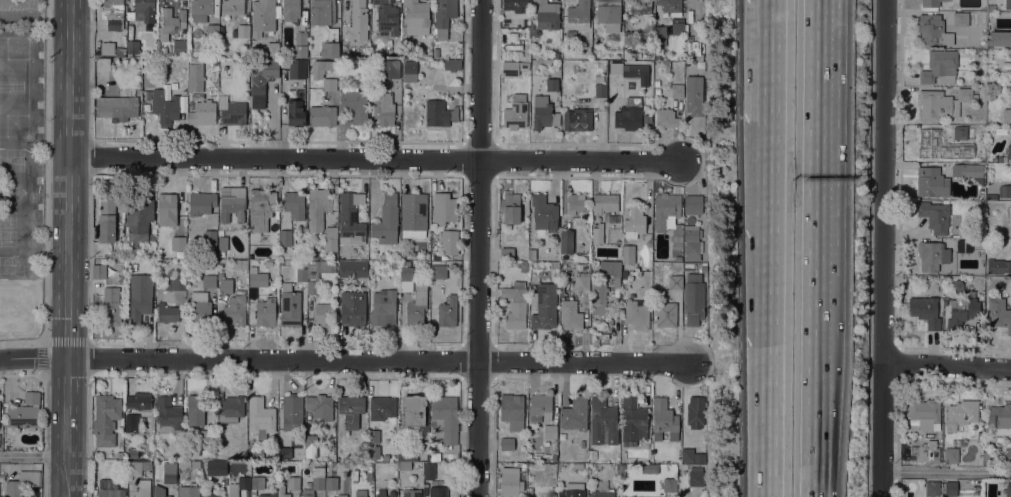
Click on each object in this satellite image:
building: (931, 3)
building: (1008, 4)
building: (516, 5)
building: (670, 6)
building: (233, 7)
building: (640, 7)
road: (775, 7)
building: (991, 7)
building: (201, 10)
building: (291, 10)
building: (143, 11)
building: (547, 13)
building: (609, 14)
building: (113, 15)
building: (578, 15)
building: (262, 16)
building: (444, 16)
building: (416, 17)
building: (386, 18)
building: (964, 19)
building: (358, 21)
building: (171, 23)
building: (325, 25)
building: (679, 28)
building: (931, 28)
building: (212, 30)
building: (243, 30)
building: (659, 36)
building: (629, 37)
building: (999, 38)
building: (950, 43)
building: (300, 44)
building: (132, 46)
building: (107, 47)
building: (179, 47)
building: (272, 49)
building: (119, 50)
building: (659, 51)
building: (393, 52)
building: (437, 53)
building: (342, 54)
building: (555, 55)
building: (214, 61)
building: (103, 64)
building: (452, 65)
building: (514, 67)
building: (615, 67)
building: (939, 67)
building: (321, 68)
building: (389, 68)
building: (637, 68)
building: (297, 69)
building: (410, 70)
building: (1009, 73)
building: (195, 75)
building: (616, 75)
building: (148, 78)
building: (599, 78)
building: (262, 79)
building: (656, 82)
building: (329, 84)
building: (552, 84)
building: (174, 85)
building: (600, 90)
building: (677, 91)
building: (213, 92)
building: (147, 94)
building: (694, 95)
building: (200, 96)
building: (942, 103)
building: (354, 105)
building: (117, 107)
building: (146, 107)
building: (164, 107)
building: (384, 108)
building: (232, 111)
building: (296, 112)
building: (516, 112)
building: (543, 112)
building: (203, 113)
building: (439, 113)
building: (322, 115)
building: (1007, 115)
building: (632, 117)
building: (666, 118)
building: (577, 119)
building: (997, 130)
building: (960, 133)
building: (929, 142)
building: (1009, 151)
road: (373, 158)
building: (1000, 158)
building: (966, 169)
road: (813, 171)
building: (931, 182)
building: (1005, 191)
building: (991, 197)
building: (201, 202)
building: (232, 203)
building: (335, 203)
building: (575, 203)
building: (605, 203)
building: (693, 204)
building: (295, 205)
building: (510, 207)
building: (318, 208)
building: (443, 208)
building: (167, 209)
building: (261, 209)
building: (414, 211)
building: (544, 212)
building: (139, 215)
building: (668, 216)
building: (935, 216)
building: (351, 217)
building: (386, 220)
building: (106, 221)
building: (634, 222)
building: (597, 233)
building: (302, 236)
building: (152, 237)
building: (210, 238)
building: (330, 239)
building: (691, 239)
building: (979, 239)
building: (284, 240)
building: (449, 241)
building: (566, 241)
building: (178, 245)
building: (222, 245)
building: (964, 246)
road: (68, 248)
road: (479, 248)
road: (883, 248)
building: (311, 252)
building: (507, 253)
building: (531, 254)
building: (627, 254)
building: (933, 255)
road: (773, 256)
building: (687, 257)
building: (678, 258)
building: (240, 264)
building: (268, 264)
building: (393, 264)
building: (505, 264)
building: (998, 265)
building: (352, 268)
building: (253, 269)
building: (703, 269)
building: (438, 271)
building: (317, 273)
building: (301, 274)
building: (405, 276)
building: (613, 276)
building: (258, 279)
building: (209, 281)
building: (582, 282)
building: (675, 282)
building: (175, 283)
building: (225, 286)
building: (599, 294)
building: (139, 297)
building: (693, 299)
building: (515, 304)
building: (111, 306)
building: (290, 306)
building: (544, 306)
building: (383, 307)
building: (353, 308)
building: (416, 308)
building: (200, 309)
building: (235, 309)
building: (962, 309)
building: (925, 310)
building: (447, 311)
building: (265, 312)
building: (998, 312)
building: (323, 313)
building: (637, 313)
building: (168, 314)
building: (666, 314)
building: (570, 315)
road: (343, 359)
road: (947, 365)
building: (140, 400)
building: (320, 406)
building: (382, 407)
building: (540, 407)
building: (230, 409)
building: (351, 409)
building: (196, 410)
building: (413, 410)
building: (512, 411)
building: (25, 412)
building: (292, 412)
building: (695, 412)
building: (574, 413)
building: (926, 413)
building: (961, 414)
building: (168, 416)
building: (260, 416)
building: (446, 416)
building: (1000, 418)
building: (106, 419)
building: (664, 419)
road: (811, 419)
building: (633, 420)
building: (603, 421)
building: (132, 422)
building: (363, 429)
building: (550, 431)
building: (206, 436)
building: (373, 436)
building: (311, 441)
building: (506, 443)
building: (373, 451)
building: (284, 452)
building: (925, 452)
building: (132, 453)
building: (257, 453)
building: (592, 454)
building: (404, 455)
building: (687, 455)
building: (951, 455)
building: (1008, 455)
road: (33, 456)
building: (435, 457)
building: (987, 460)
building: (184, 464)
building: (404, 465)
building: (137, 467)
building: (216, 468)
building: (369, 468)
building: (649, 468)
building: (429, 470)
building: (621, 470)
road: (946, 470)
building: (169, 472)
road: (42, 476)
building: (368, 476)
building: (695, 476)
building: (2, 477)
building: (510, 481)
building: (21, 482)
building: (257, 482)
building: (293, 482)
building: (330, 483)
building: (108, 484)
building: (669, 484)
building: (238, 486)
building: (313, 486)
building: (142, 488)
building: (932, 488)
building: (950, 488)
building: (1008, 488)
building: (159, 491)
building: (189, 491)
building: (281, 491)
building: (111, 492)
building: (438, 492)
building: (529, 492)
building: (360, 493)
building: (384, 493)
building: (411, 493)
building: (572, 494)
building: (601, 494)
building: (212, 495)
building: (168, 496)
building: (268, 496)
building: (342, 496)

